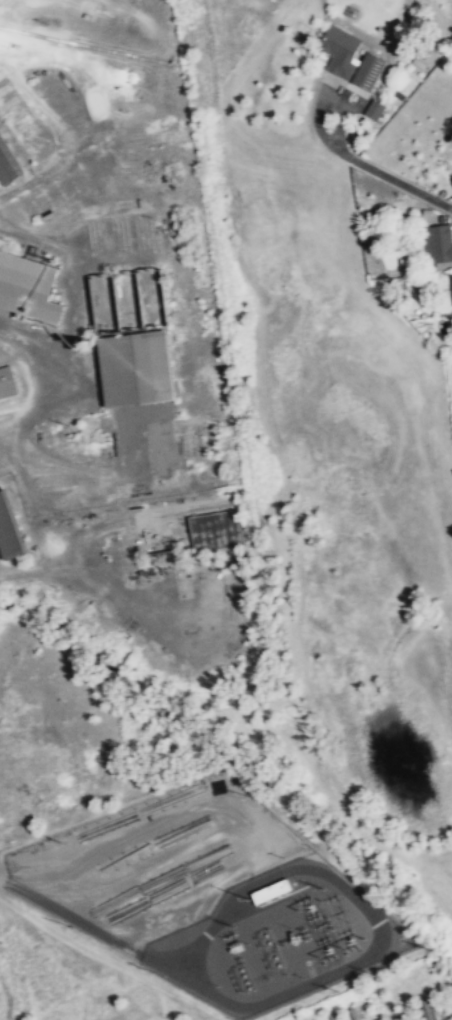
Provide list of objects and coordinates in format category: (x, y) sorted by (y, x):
railway: (79, 42)
building: (339, 49)
building: (368, 70)
building: (372, 109)
building: (8, 162)
building: (451, 177)
building: (2, 244)
building: (438, 247)
building: (395, 268)
building: (451, 280)
building: (28, 286)
building: (137, 368)
building: (6, 383)
building: (217, 528)
building: (9, 530)
building: (277, 888)
road: (376, 917)
road: (84, 923)
quarry: (12, 926)
power substation: (278, 938)
road: (92, 951)
building: (428, 1010)

